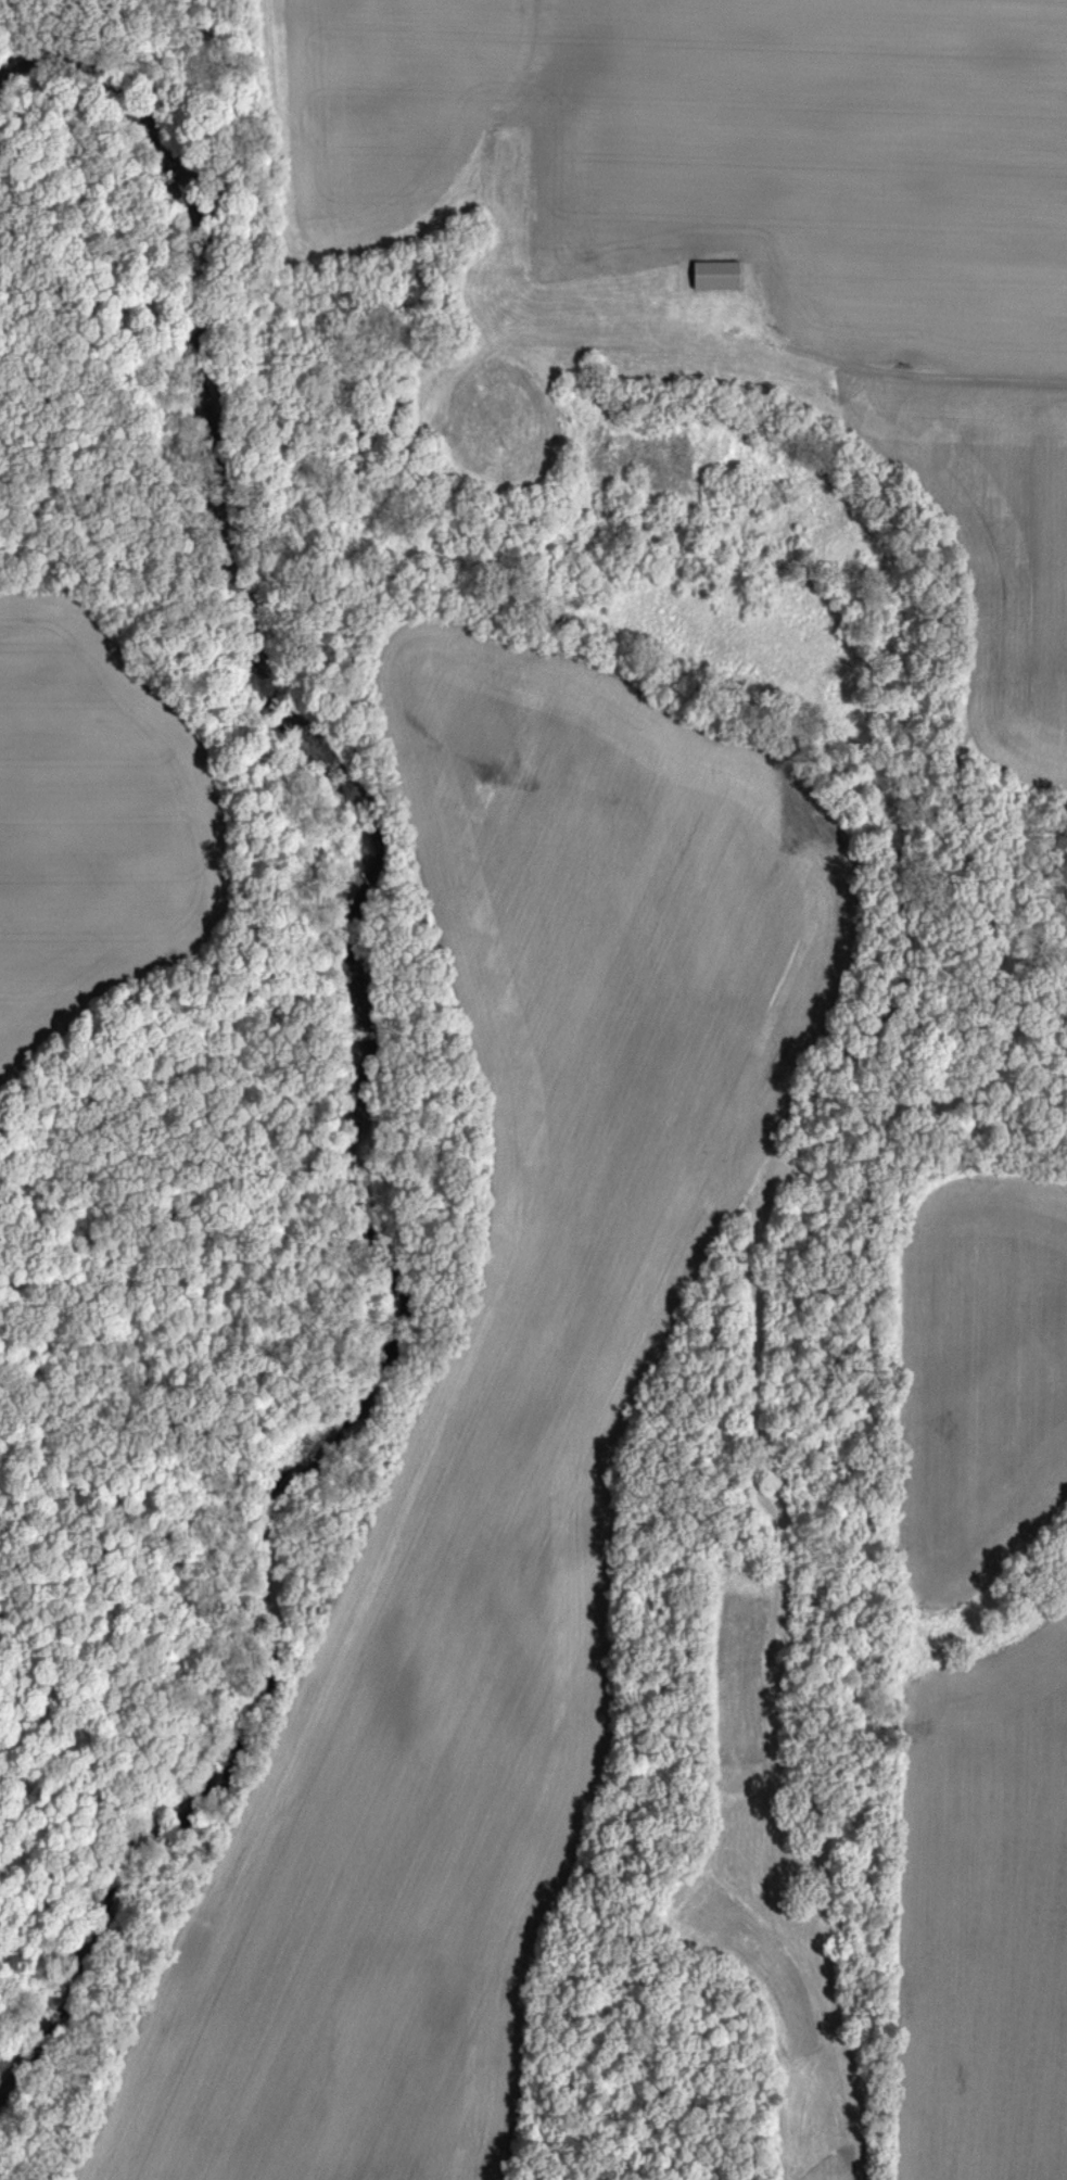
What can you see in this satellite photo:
road: (929, 378)

